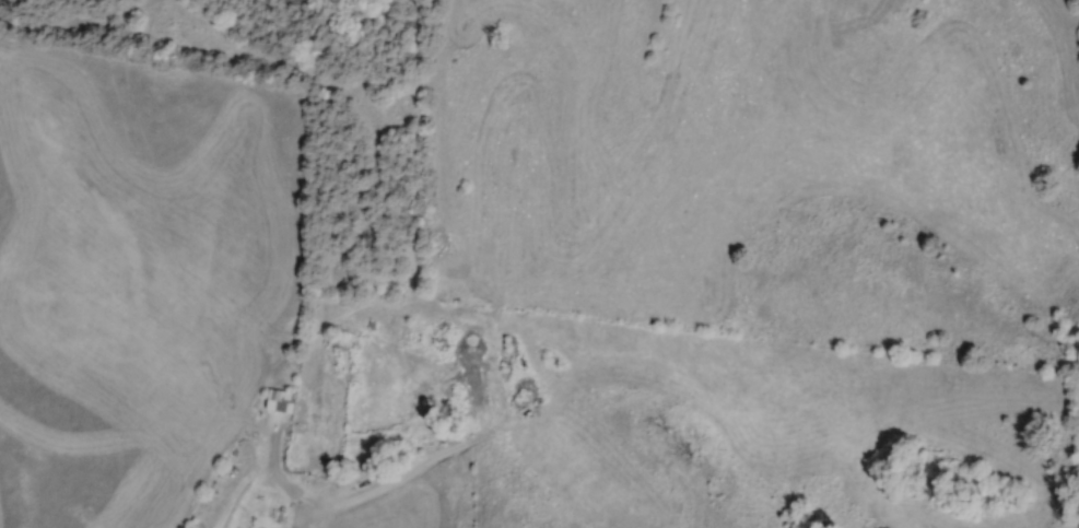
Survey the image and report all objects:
building: (336, 340)
building: (284, 400)
road: (315, 460)

